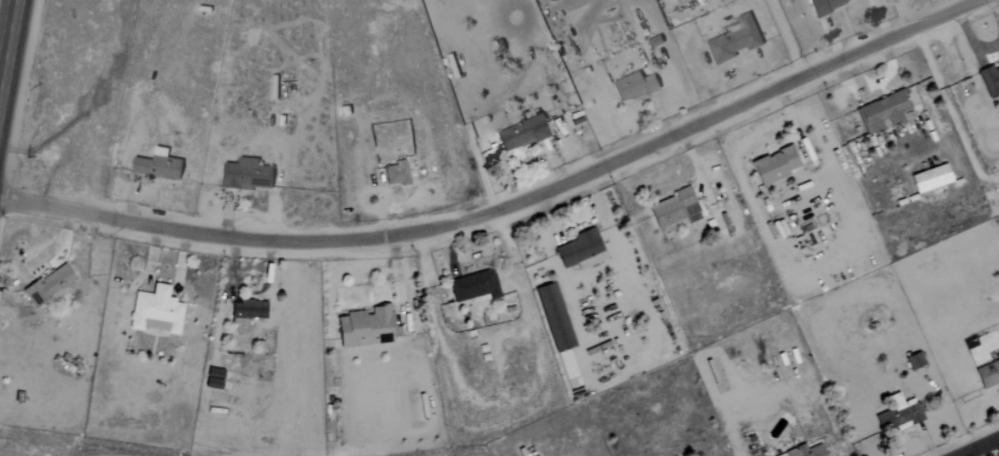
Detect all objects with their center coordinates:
building: (676, 0)
building: (823, 5)
building: (731, 41)
road: (8, 44)
building: (989, 81)
building: (631, 87)
building: (884, 112)
building: (521, 134)
building: (153, 166)
building: (773, 166)
building: (395, 174)
building: (242, 176)
building: (929, 179)
road: (507, 205)
road: (571, 207)
building: (673, 210)
building: (580, 251)
road: (592, 271)
building: (48, 287)
building: (474, 287)
building: (155, 311)
building: (246, 311)
building: (553, 318)
building: (366, 328)
building: (913, 360)
building: (567, 369)
building: (988, 374)
building: (897, 415)
road: (981, 448)
building: (804, 451)

